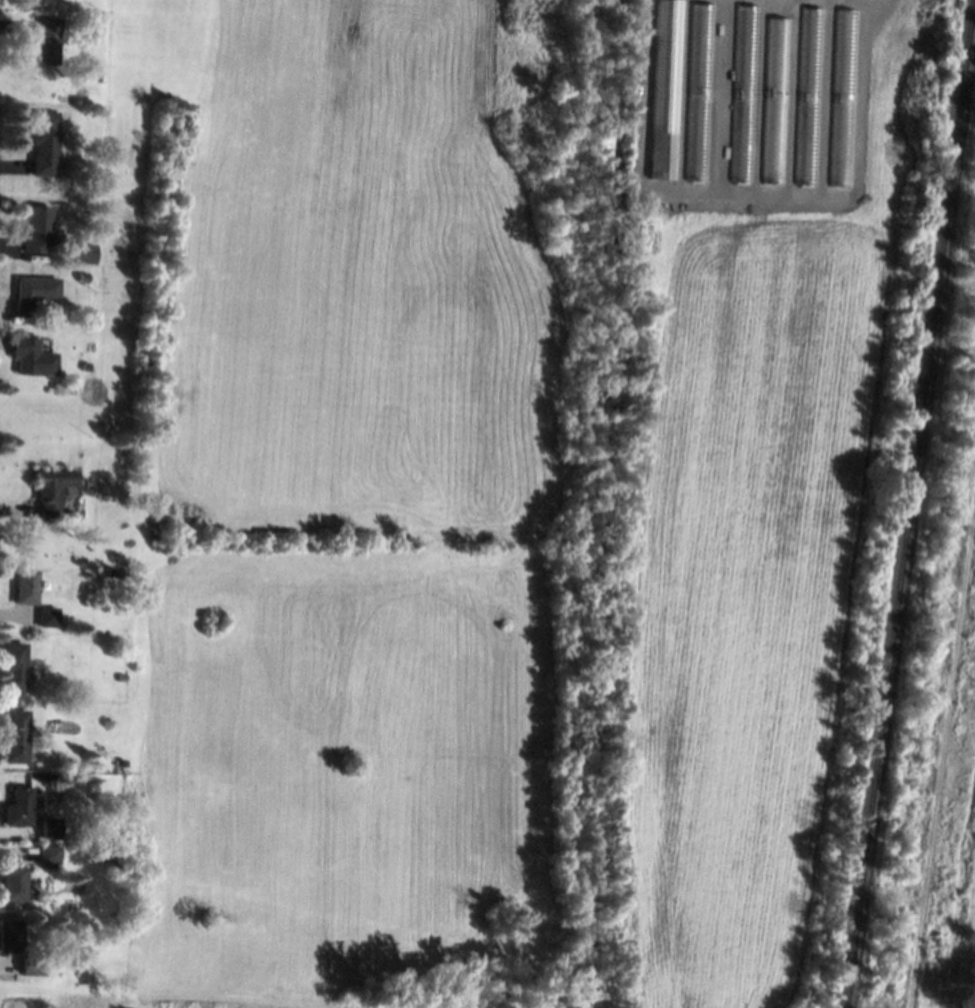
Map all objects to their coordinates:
building: (86, 30)
building: (46, 40)
building: (663, 88)
building: (697, 91)
building: (742, 94)
building: (808, 95)
building: (843, 96)
building: (775, 99)
building: (42, 142)
building: (36, 228)
building: (88, 252)
building: (82, 276)
building: (33, 292)
building: (31, 356)
building: (84, 365)
building: (123, 448)
building: (52, 490)
railway: (911, 507)
crop: (472, 521)
building: (110, 571)
building: (25, 586)
building: (46, 615)
building: (13, 664)
building: (121, 677)
building: (15, 735)
building: (121, 762)
building: (17, 806)
building: (50, 827)
building: (47, 853)
building: (12, 883)
building: (10, 935)
park: (969, 960)
building: (30, 965)
park: (966, 1006)

